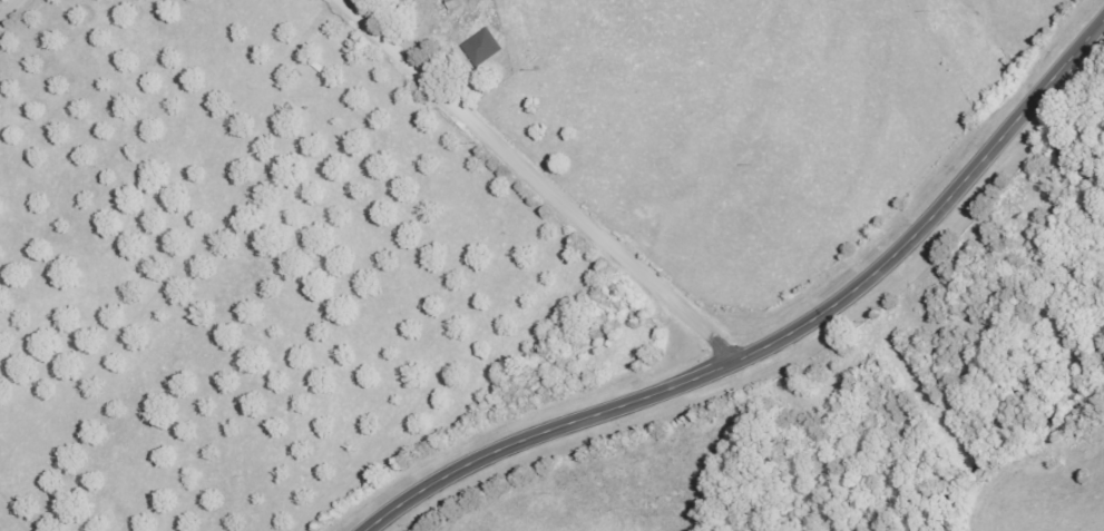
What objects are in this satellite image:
road: (9, 10)
building: (483, 46)
road: (543, 181)
road: (779, 342)

